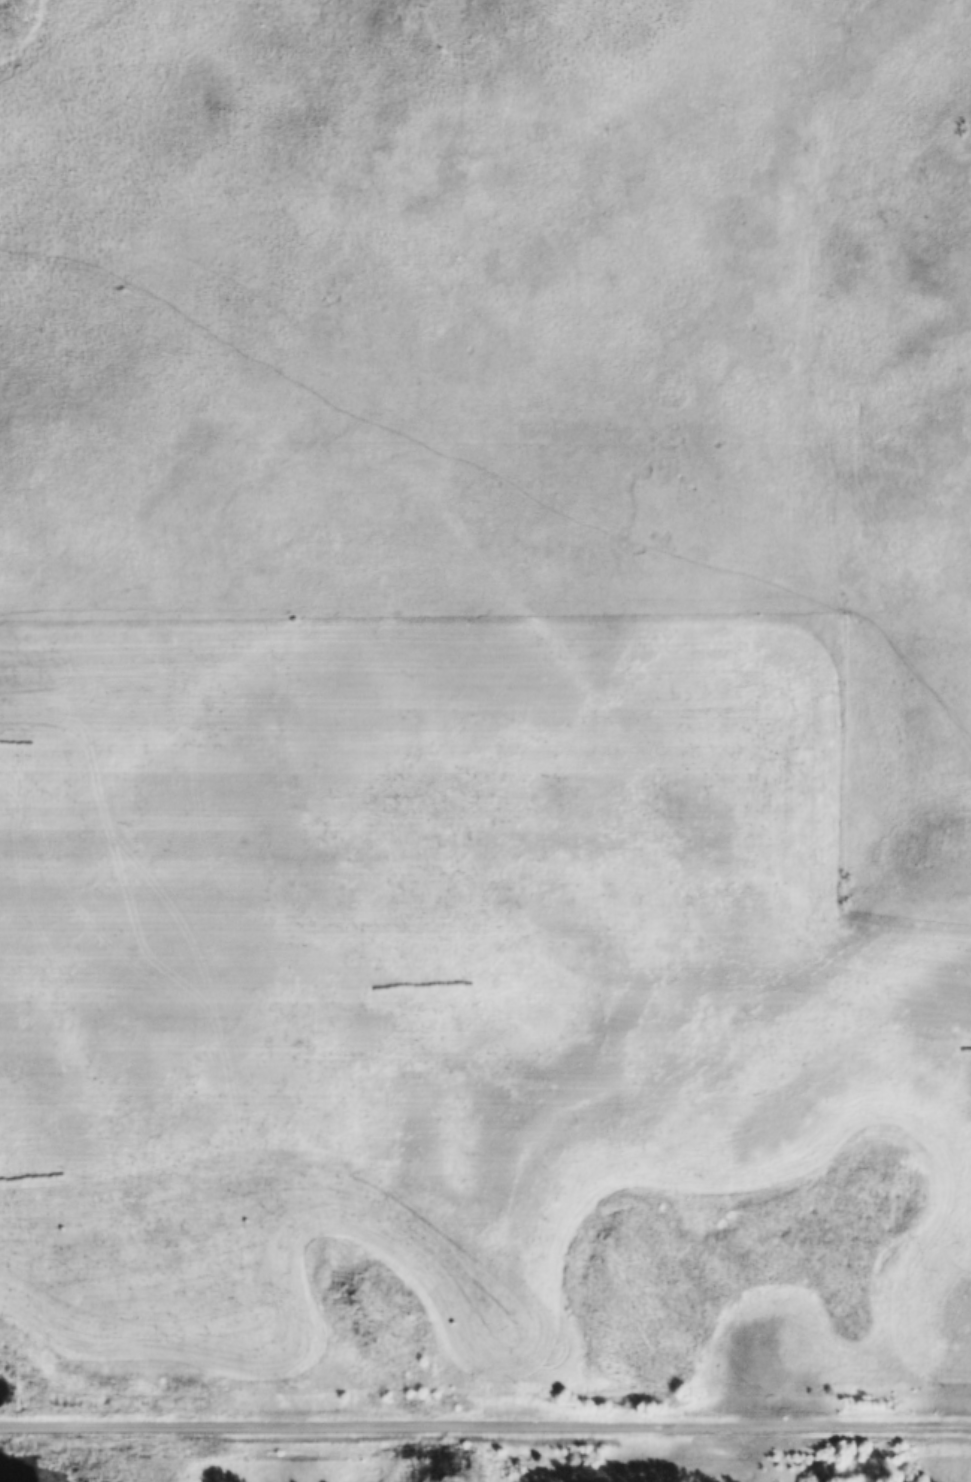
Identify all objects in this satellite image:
road: (485, 1421)

